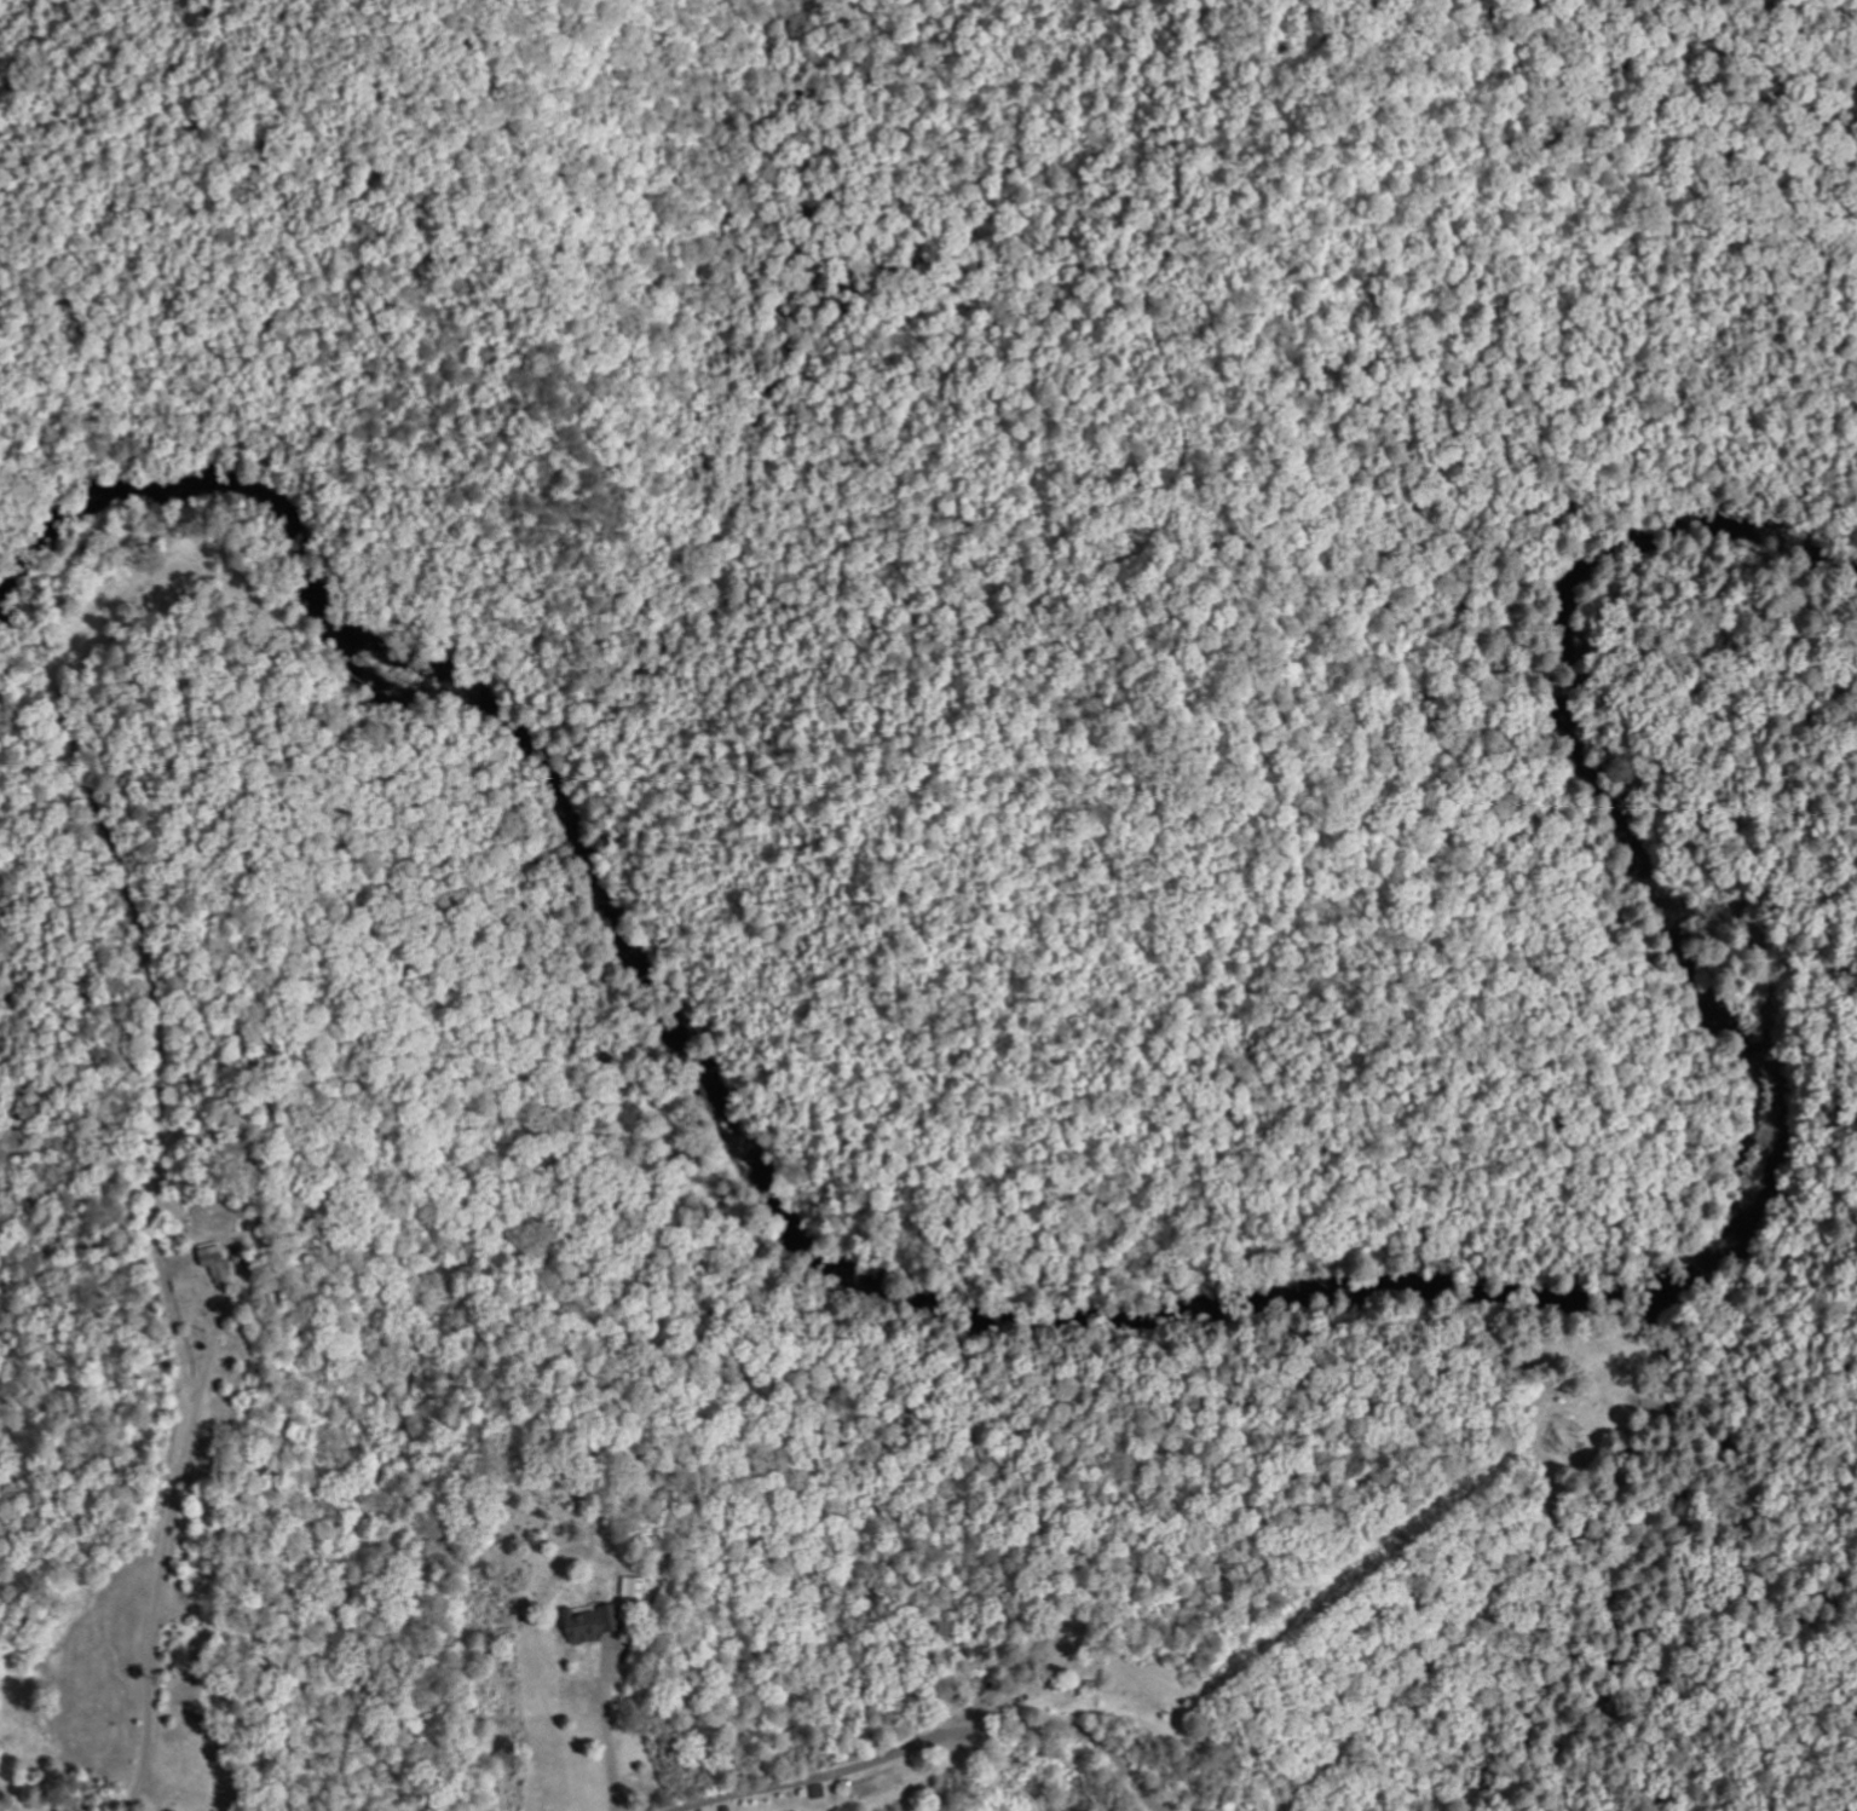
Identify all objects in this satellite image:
building: (220, 1263)
building: (596, 1622)
road: (938, 1740)
building: (823, 1790)
building: (812, 1810)

